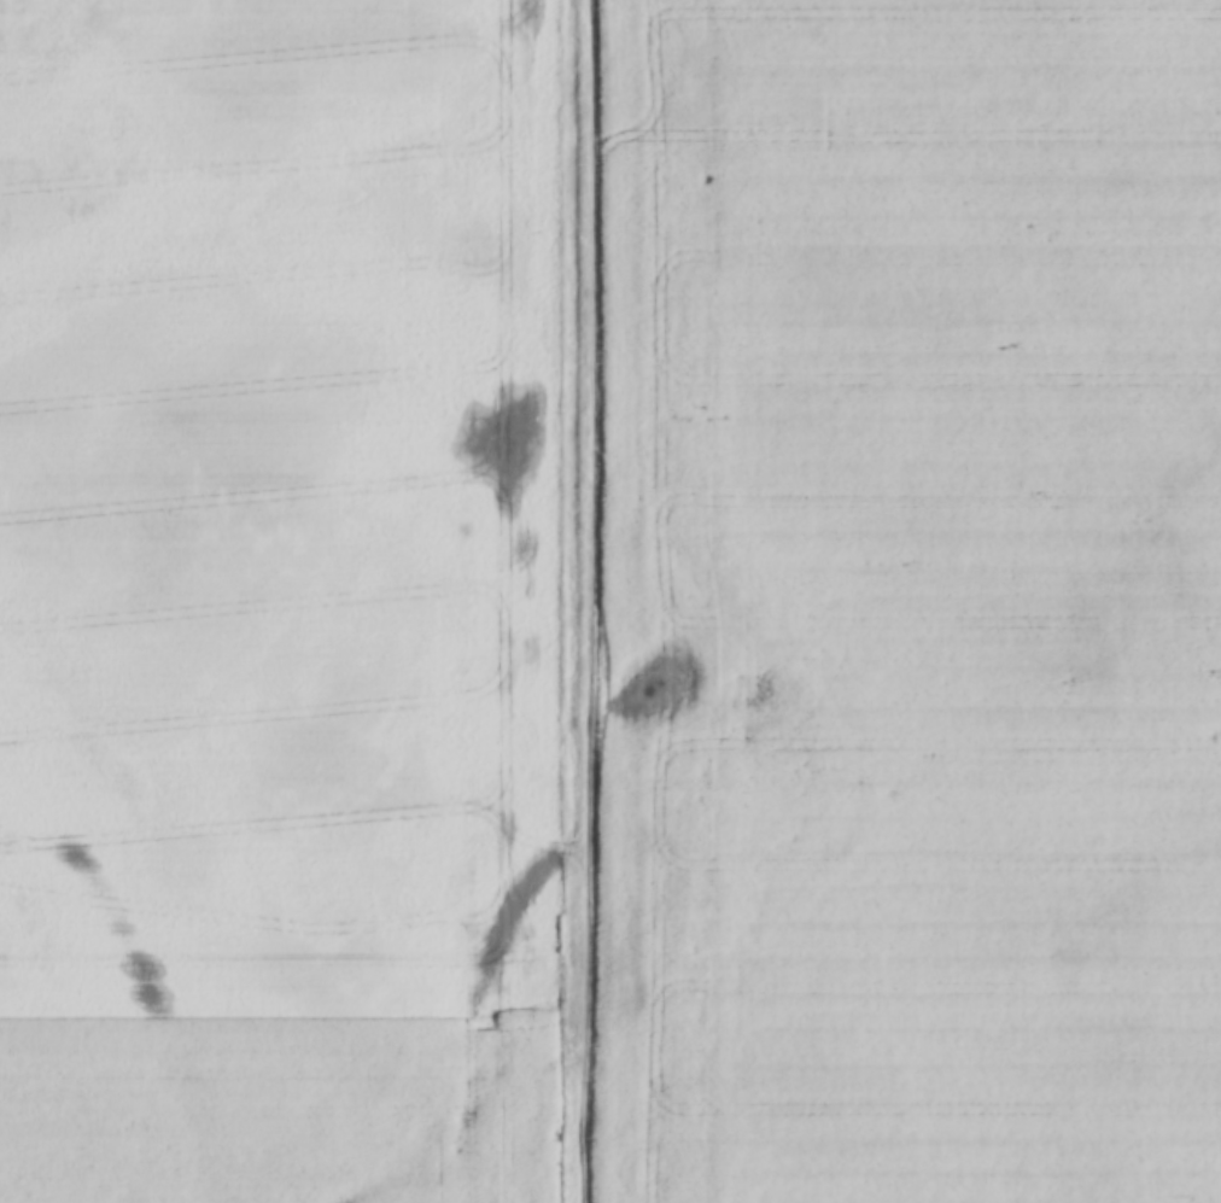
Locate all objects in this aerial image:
road: (596, 601)

